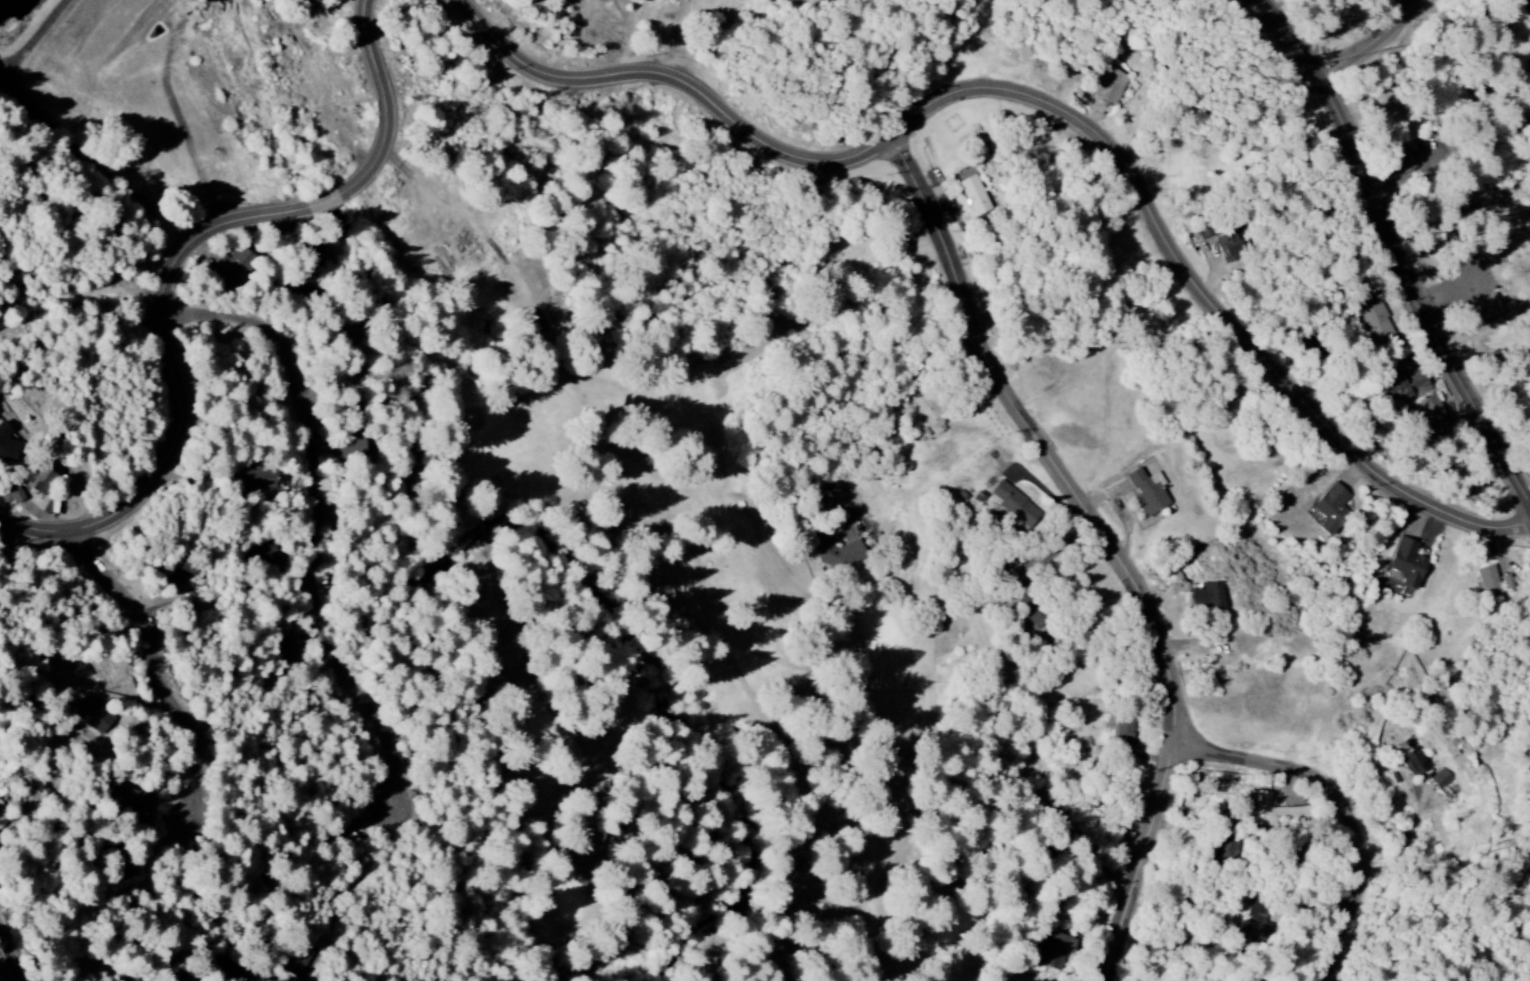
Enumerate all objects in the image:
road: (1375, 41)
building: (1110, 85)
road: (1051, 106)
building: (1408, 160)
building: (973, 192)
road: (1396, 247)
building: (1229, 248)
building: (235, 266)
road: (174, 270)
building: (1490, 307)
building: (1375, 319)
building: (1409, 386)
building: (1432, 416)
building: (6, 445)
building: (351, 449)
building: (258, 476)
building: (41, 481)
building: (1148, 492)
park: (547, 494)
building: (15, 495)
building: (1013, 504)
building: (1332, 509)
road: (322, 517)
road: (638, 544)
road: (1111, 544)
building: (834, 550)
building: (263, 554)
building: (1407, 562)
building: (185, 570)
building: (1488, 582)
building: (1508, 584)
building: (1208, 596)
building: (1023, 598)
building: (286, 651)
road: (166, 666)
building: (92, 716)
building: (1120, 730)
building: (1415, 763)
building: (1440, 779)
building: (128, 799)
road: (1346, 804)
building: (1273, 812)
building: (2, 816)
building: (1221, 848)
building: (1255, 908)
building: (1056, 950)
road: (12, 953)

